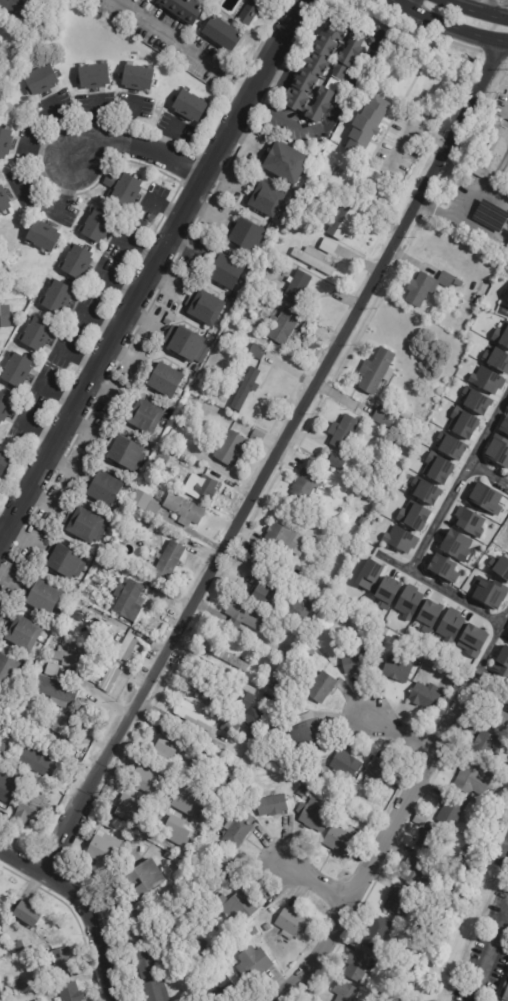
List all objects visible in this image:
building: (141, 3)
road: (395, 3)
road: (402, 3)
road: (485, 6)
building: (16, 7)
building: (182, 9)
road: (475, 10)
building: (250, 13)
road: (452, 30)
building: (13, 31)
road: (164, 34)
building: (221, 34)
building: (211, 48)
building: (322, 66)
building: (94, 76)
building: (138, 78)
building: (41, 81)
building: (189, 106)
road: (338, 109)
building: (367, 123)
building: (5, 143)
road: (136, 147)
building: (492, 149)
building: (287, 160)
building: (110, 181)
building: (309, 186)
building: (126, 191)
building: (332, 191)
building: (266, 197)
road: (470, 200)
building: (3, 201)
building: (103, 201)
building: (490, 215)
building: (343, 221)
building: (98, 226)
building: (285, 229)
building: (246, 233)
building: (43, 235)
building: (279, 239)
building: (328, 245)
building: (313, 259)
building: (77, 262)
road: (144, 266)
building: (226, 270)
building: (456, 285)
building: (426, 286)
building: (297, 287)
building: (57, 297)
building: (434, 298)
building: (507, 302)
building: (205, 305)
road: (504, 311)
building: (4, 317)
building: (168, 317)
building: (283, 324)
building: (37, 334)
building: (501, 334)
building: (187, 343)
building: (258, 351)
building: (496, 359)
building: (195, 367)
building: (376, 369)
building: (17, 371)
building: (249, 378)
building: (166, 379)
building: (486, 380)
building: (475, 400)
building: (195, 401)
building: (5, 407)
building: (507, 411)
building: (403, 412)
building: (145, 414)
building: (384, 416)
building: (462, 423)
building: (504, 425)
road: (488, 428)
building: (172, 432)
building: (341, 432)
building: (257, 436)
building: (397, 443)
building: (450, 445)
building: (230, 447)
building: (126, 452)
building: (497, 452)
building: (161, 458)
road: (274, 458)
building: (336, 461)
building: (3, 463)
building: (437, 467)
road: (488, 474)
building: (305, 484)
building: (105, 488)
building: (201, 488)
building: (425, 490)
building: (484, 499)
building: (144, 502)
building: (184, 508)
building: (131, 515)
building: (413, 515)
road: (439, 517)
building: (362, 520)
building: (468, 521)
building: (84, 523)
road: (2, 532)
building: (282, 536)
building: (400, 539)
building: (455, 545)
building: (326, 550)
building: (65, 561)
building: (168, 561)
road: (393, 562)
building: (443, 567)
building: (500, 567)
building: (369, 575)
building: (386, 592)
building: (489, 592)
building: (262, 594)
building: (43, 596)
road: (454, 597)
building: (129, 600)
building: (408, 601)
building: (297, 609)
building: (429, 612)
building: (98, 613)
building: (328, 615)
road: (504, 615)
building: (244, 616)
building: (80, 617)
building: (450, 624)
building: (266, 625)
building: (507, 627)
building: (23, 632)
building: (383, 632)
building: (507, 634)
building: (473, 639)
building: (107, 640)
building: (126, 648)
road: (486, 650)
building: (310, 652)
building: (64, 656)
building: (226, 656)
building: (359, 661)
building: (501, 662)
building: (396, 668)
building: (51, 670)
building: (8, 671)
building: (109, 677)
building: (205, 683)
building: (320, 686)
building: (56, 691)
building: (425, 695)
building: (247, 706)
building: (225, 710)
building: (195, 713)
building: (498, 717)
building: (61, 722)
building: (230, 726)
building: (10, 731)
road: (402, 731)
building: (249, 734)
building: (305, 734)
building: (266, 740)
building: (219, 745)
building: (484, 746)
building: (165, 748)
building: (3, 749)
building: (198, 754)
building: (45, 757)
building: (13, 759)
building: (344, 765)
building: (382, 770)
building: (300, 780)
building: (471, 781)
building: (368, 783)
building: (180, 784)
building: (8, 790)
building: (302, 791)
building: (351, 794)
building: (142, 798)
building: (230, 801)
building: (272, 805)
building: (239, 808)
building: (450, 809)
building: (28, 811)
building: (313, 814)
building: (462, 818)
building: (127, 819)
building: (420, 819)
building: (108, 824)
building: (472, 828)
building: (237, 829)
building: (431, 837)
building: (158, 840)
building: (341, 841)
road: (374, 852)
building: (101, 853)
road: (503, 855)
building: (163, 860)
building: (223, 870)
building: (416, 871)
building: (144, 878)
road: (313, 880)
building: (398, 901)
building: (236, 906)
road: (80, 907)
building: (26, 915)
building: (292, 922)
building: (267, 927)
building: (134, 928)
building: (253, 931)
building: (377, 931)
building: (410, 935)
building: (230, 943)
building: (202, 945)
building: (18, 946)
road: (489, 960)
building: (62, 961)
building: (145, 962)
building: (253, 964)
building: (358, 965)
building: (47, 969)
building: (15, 981)
building: (17, 986)
building: (221, 990)
building: (155, 991)
building: (345, 991)
building: (505, 991)
building: (68, 992)

